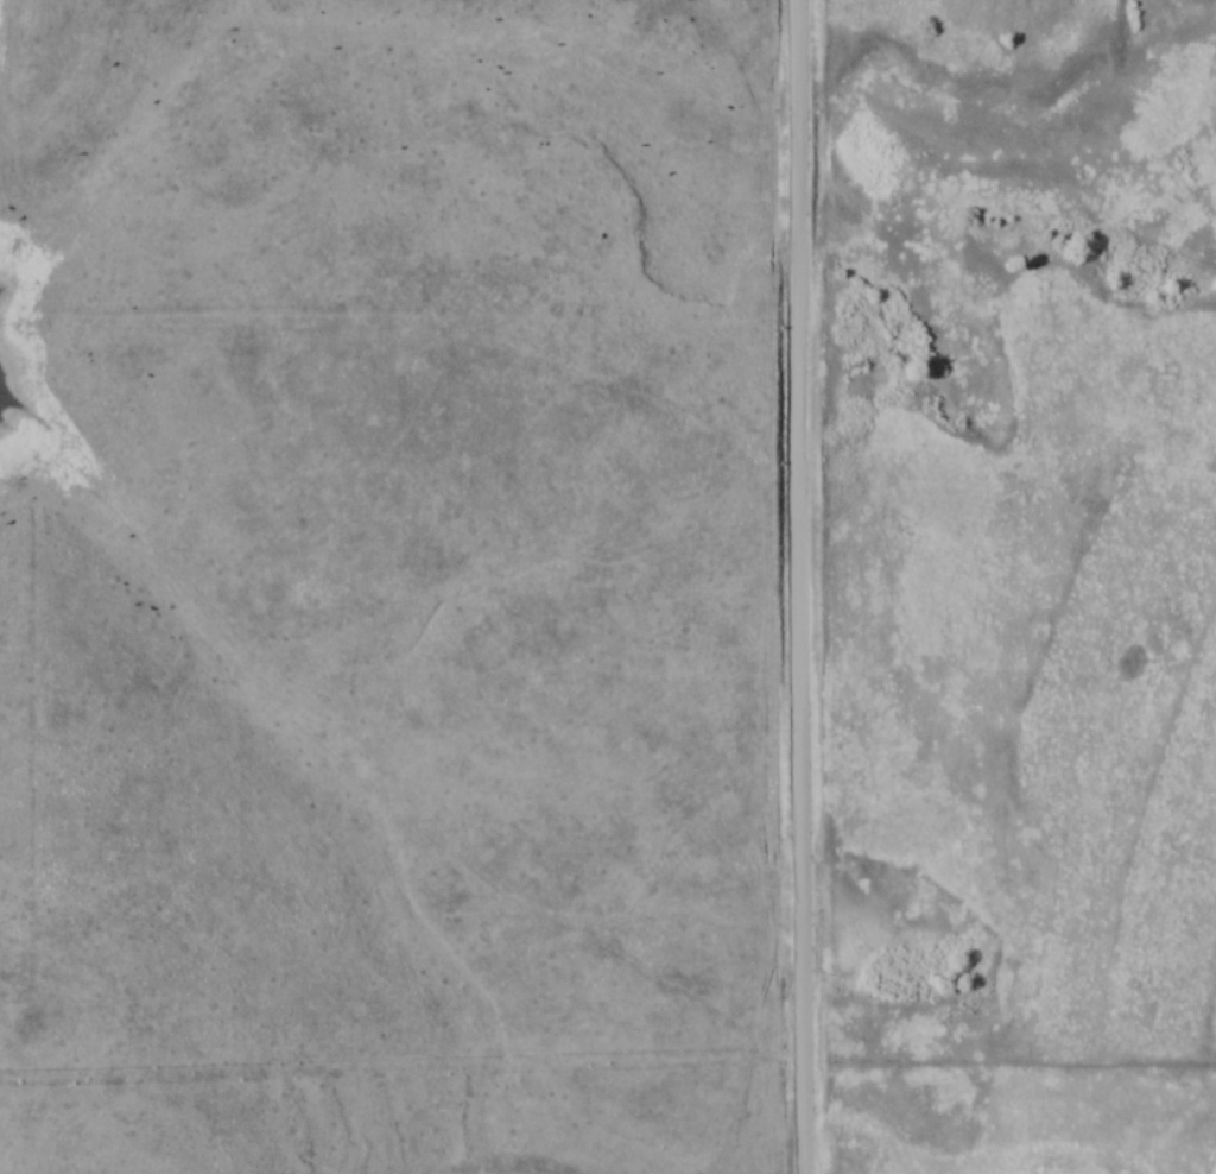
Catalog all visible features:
road: (794, 587)

